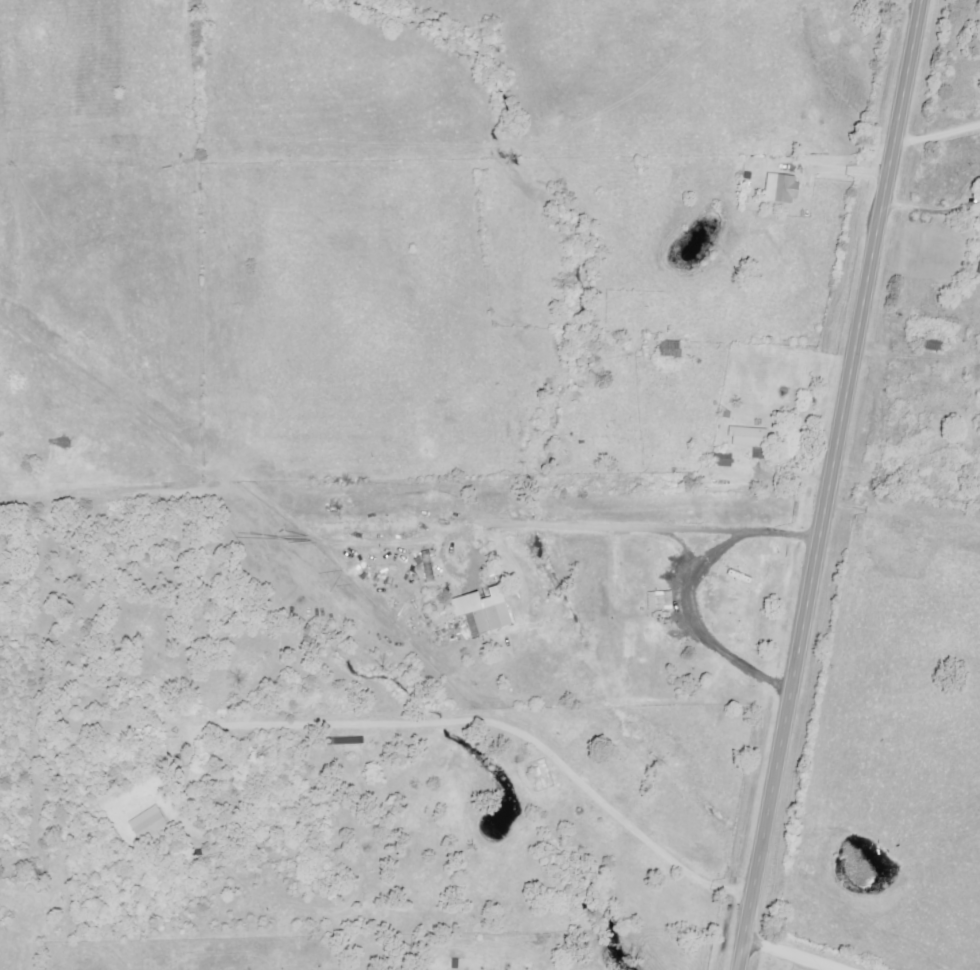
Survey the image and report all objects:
building: (779, 189)
building: (978, 268)
building: (747, 439)
road: (827, 484)
building: (427, 567)
building: (658, 601)
building: (480, 611)
building: (147, 824)
road: (790, 954)

